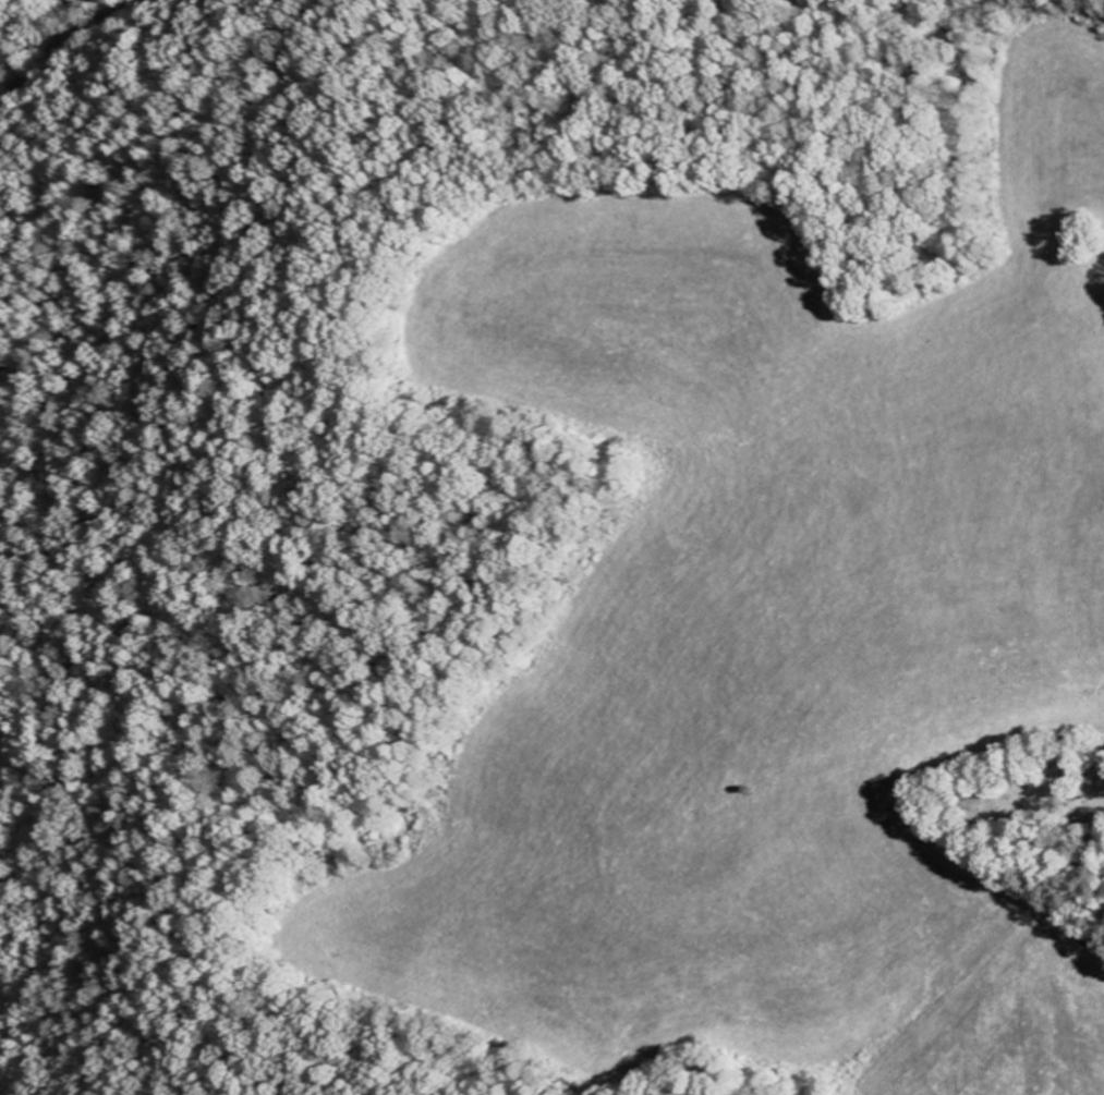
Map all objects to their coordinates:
road: (74, 44)

